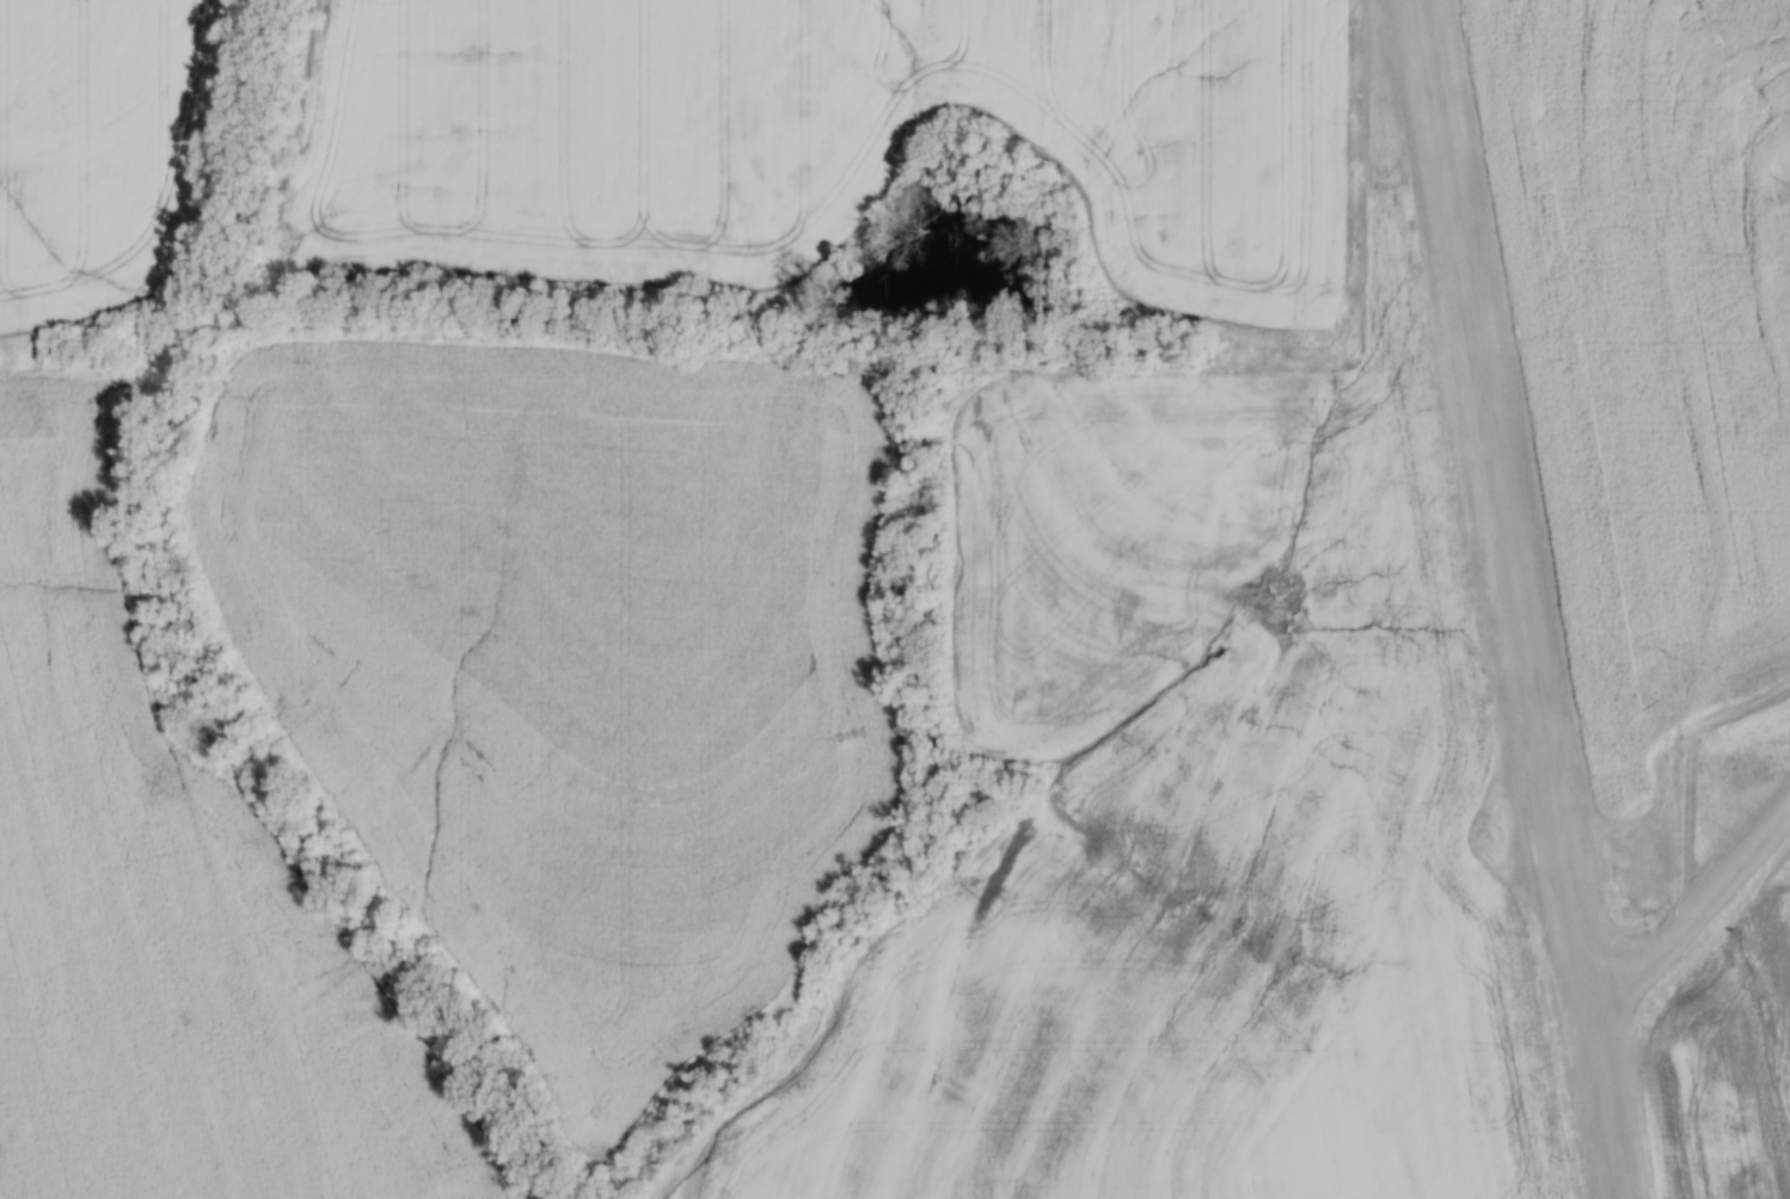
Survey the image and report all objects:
airport runway: (1527, 598)
airport taxiway: (1674, 743)

